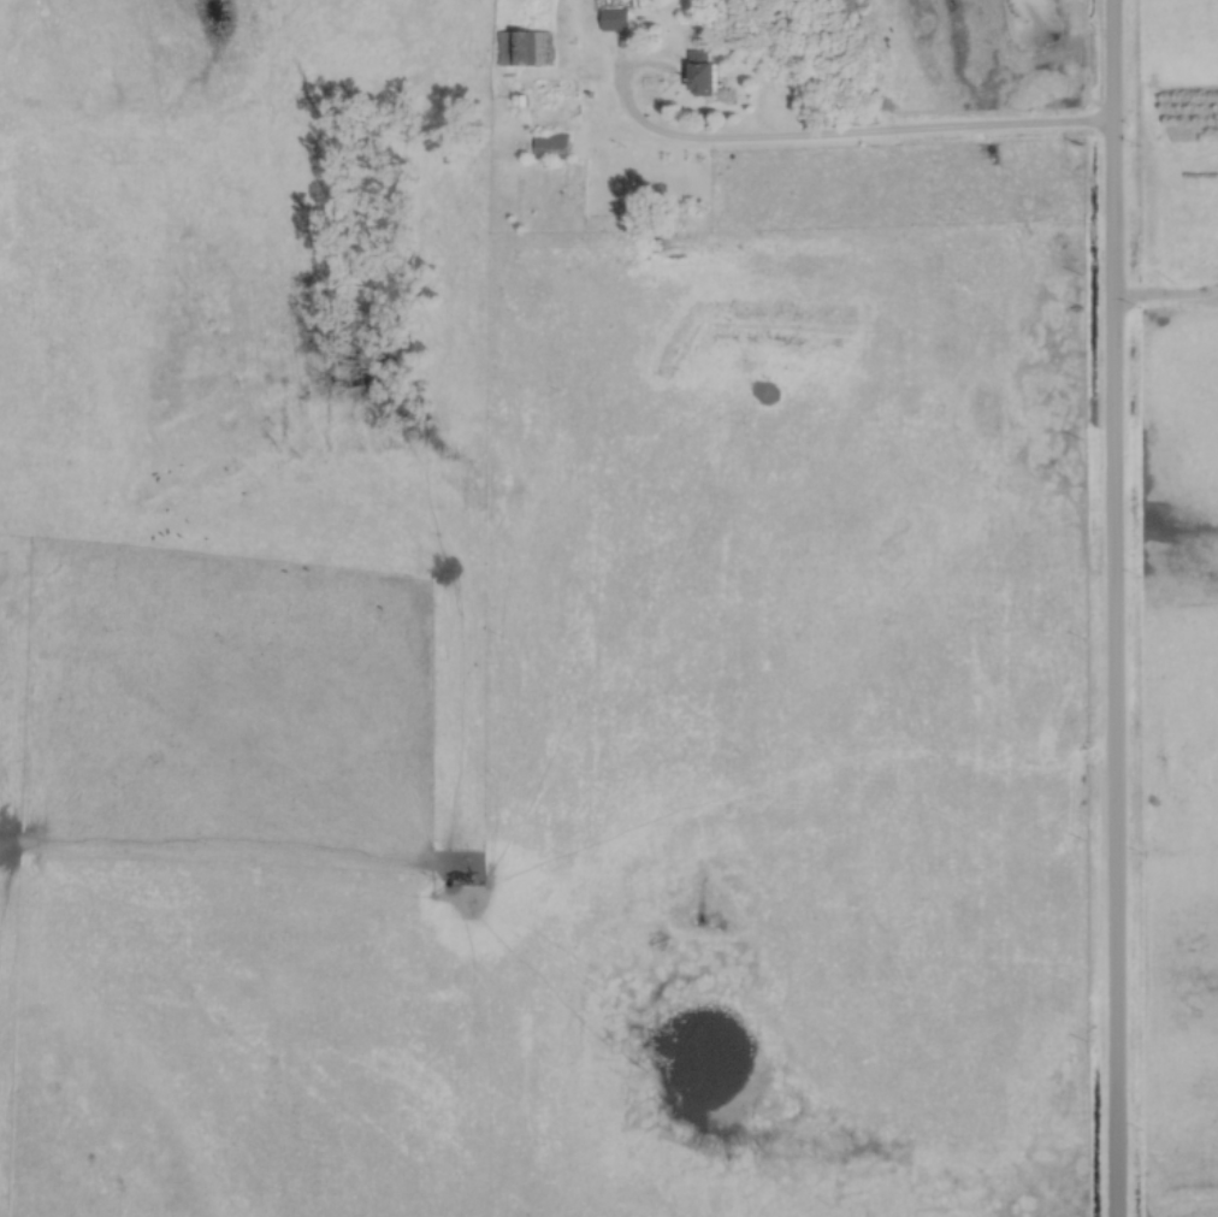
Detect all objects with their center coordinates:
building: (613, 22)
building: (521, 49)
building: (696, 76)
road: (840, 142)
building: (549, 147)
road: (1164, 305)
road: (1112, 608)

